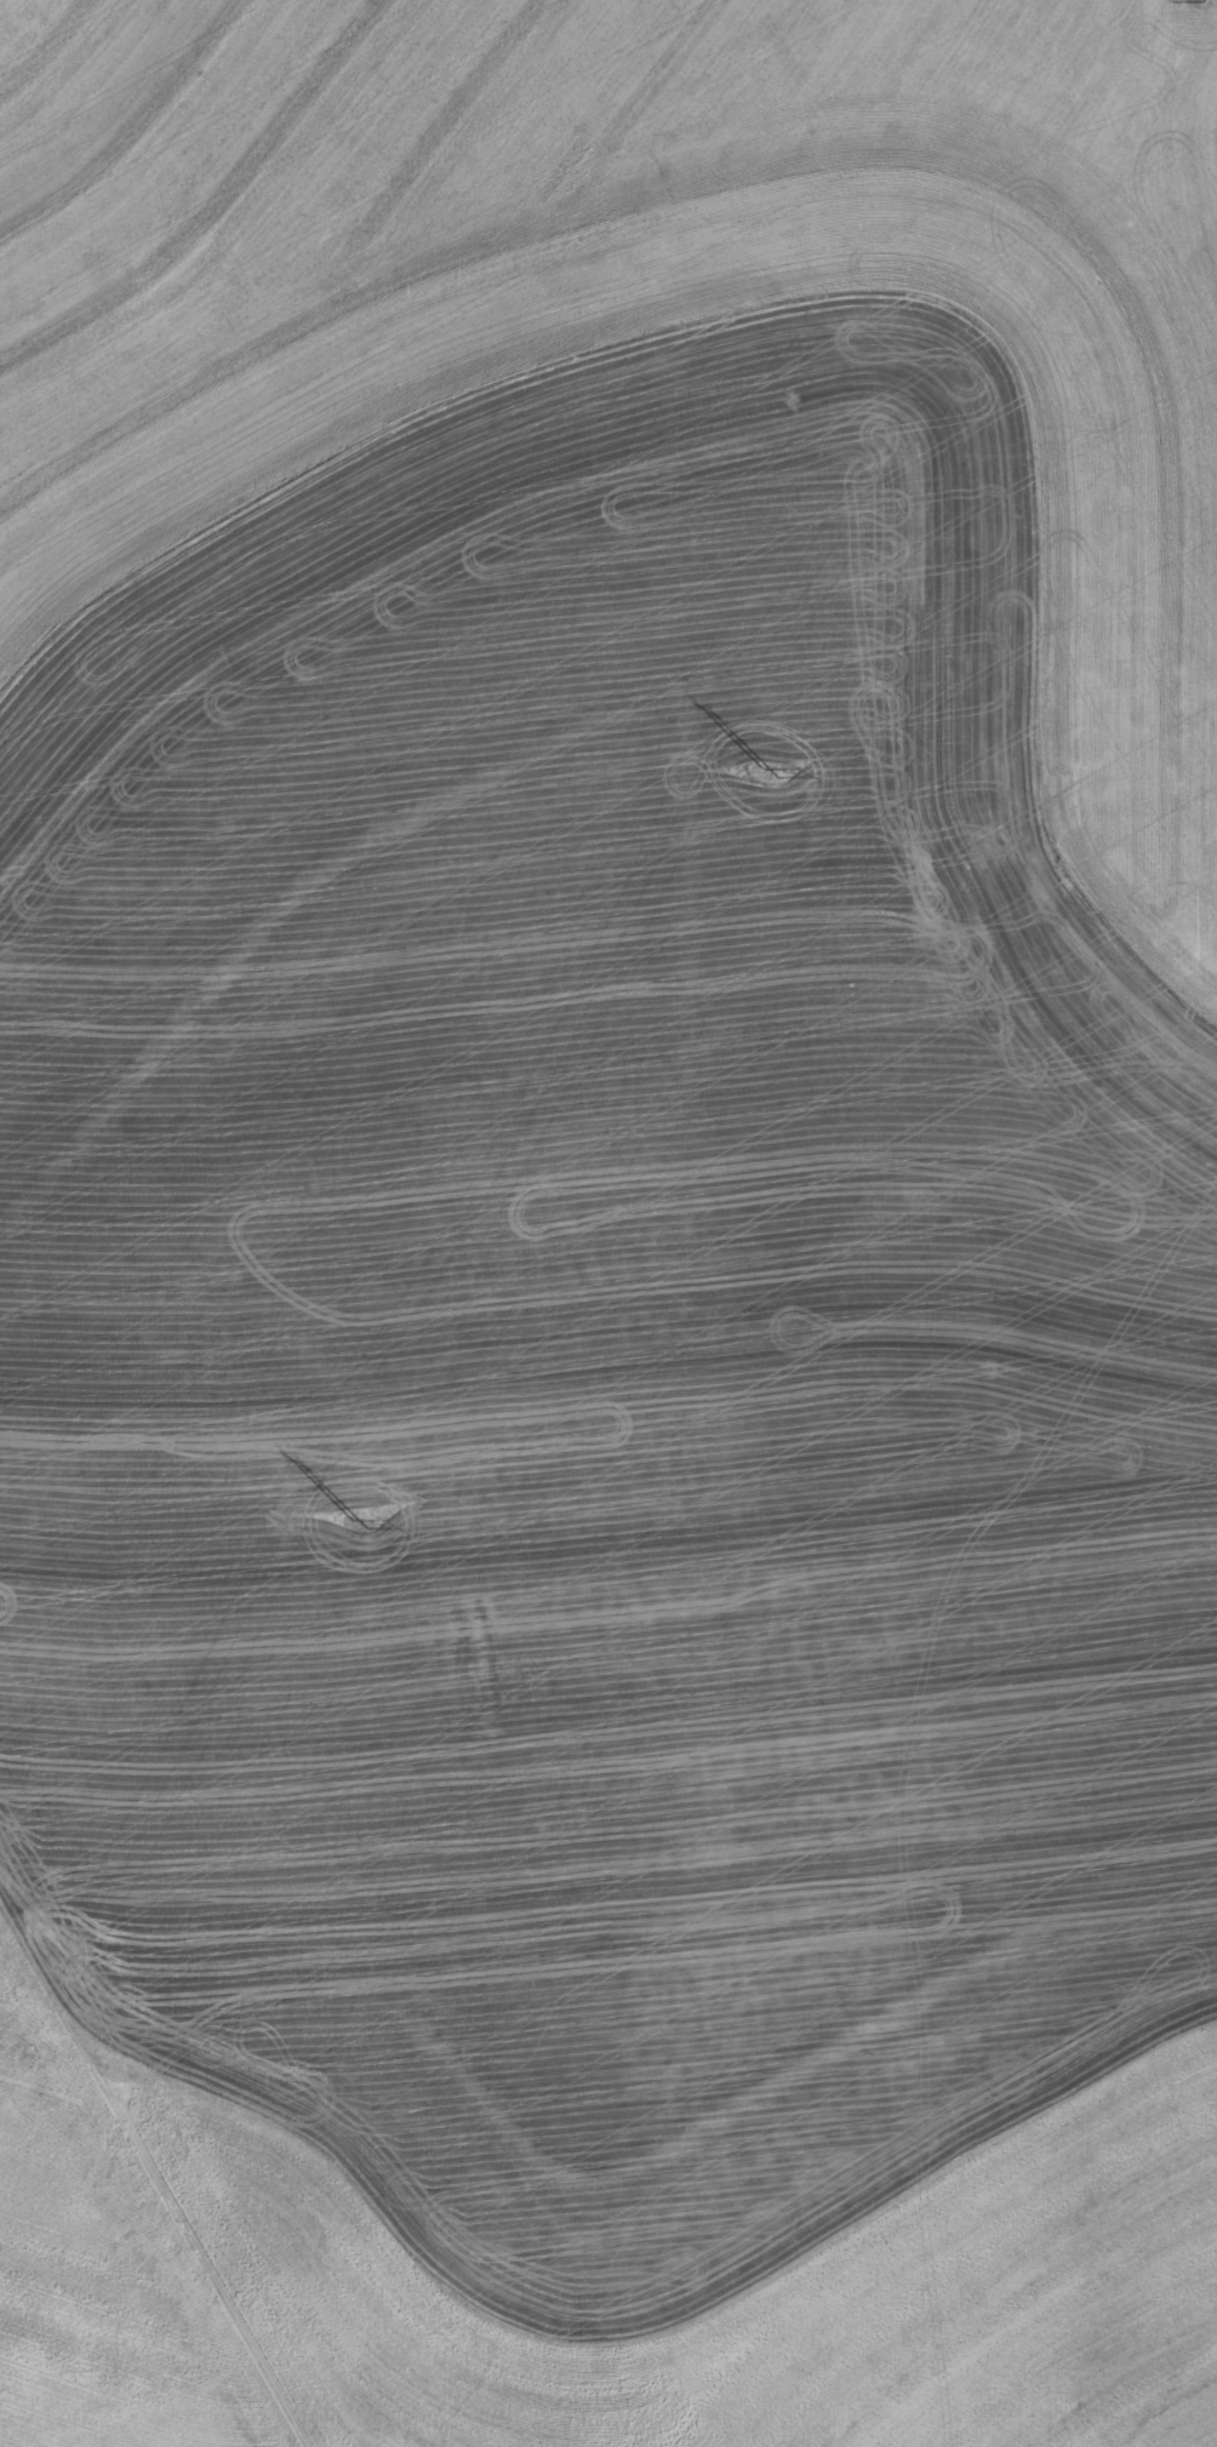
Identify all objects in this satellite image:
power tower: (765, 774)
power tower: (355, 1530)

